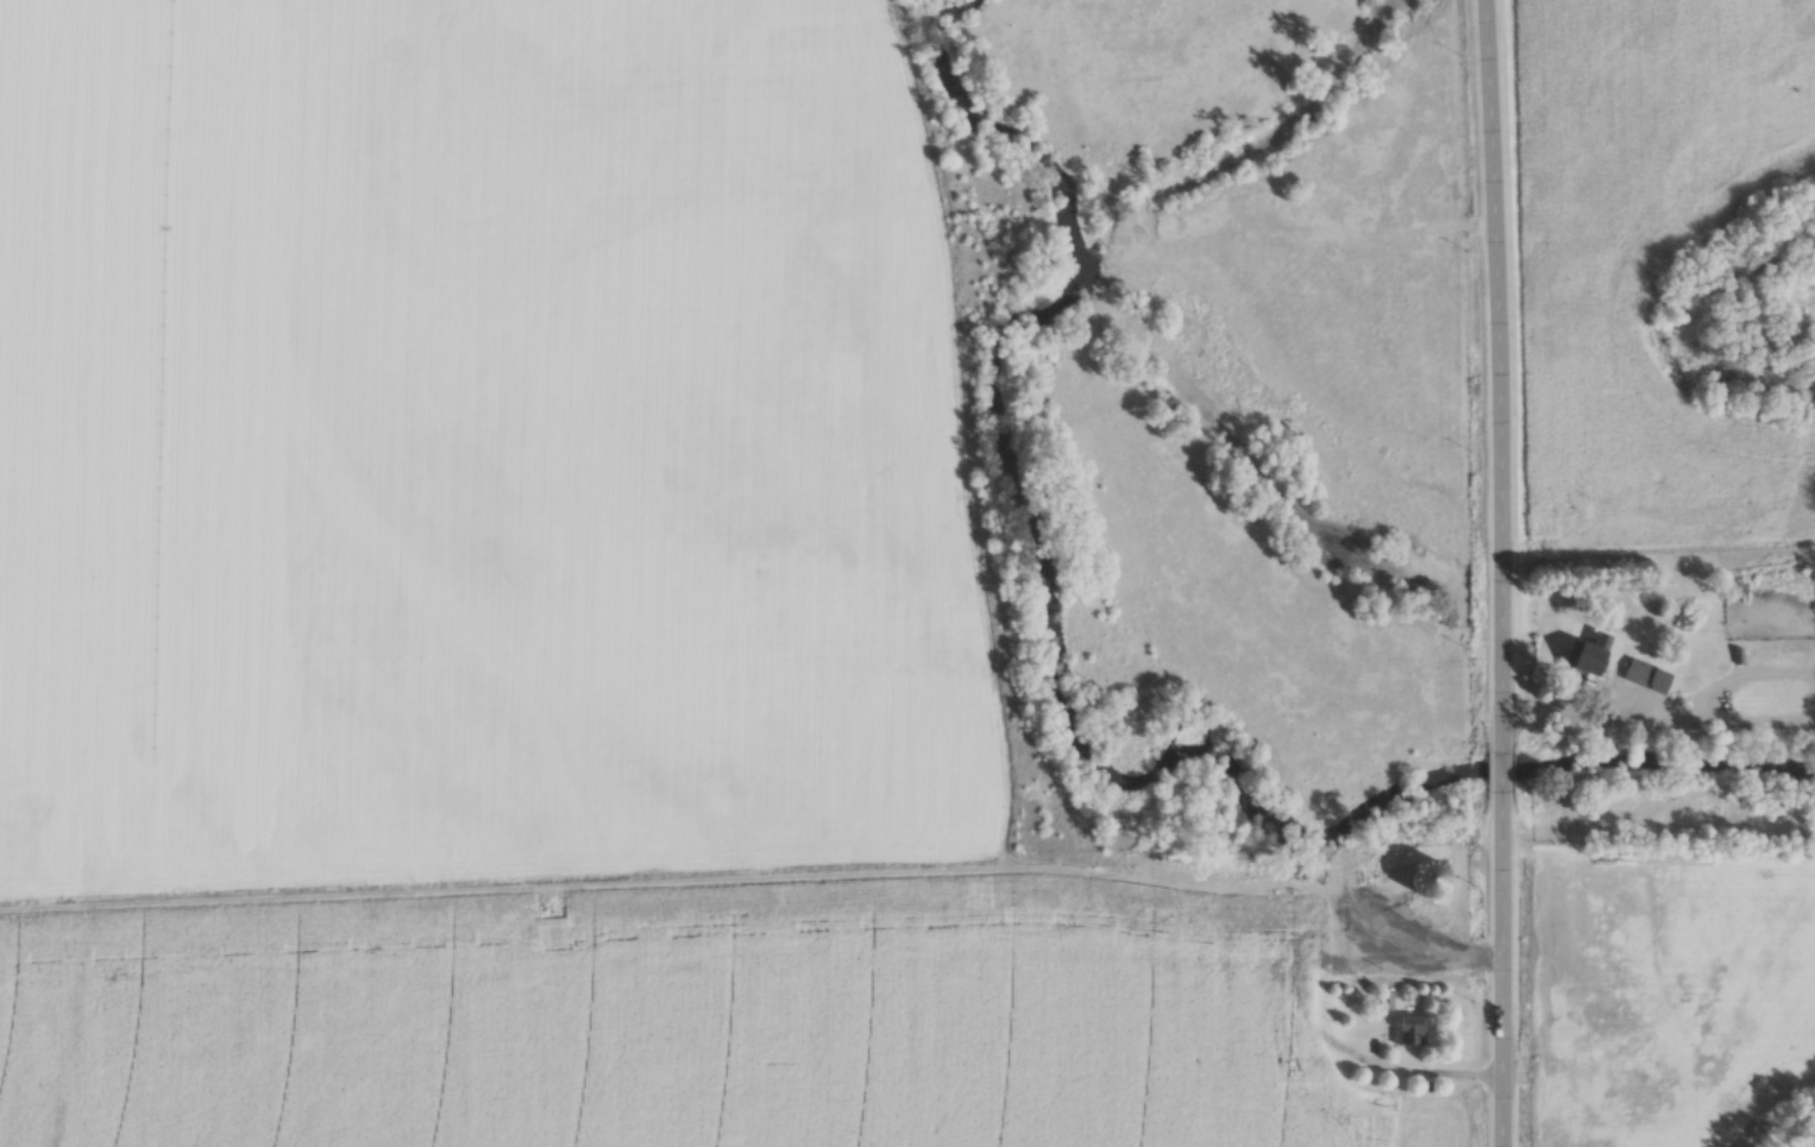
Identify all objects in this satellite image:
road: (1499, 376)
building: (1590, 658)
building: (1639, 674)
road: (1578, 706)
road: (1502, 771)
building: (1763, 874)
road: (1502, 969)
building: (1406, 1033)
road: (1378, 1061)

